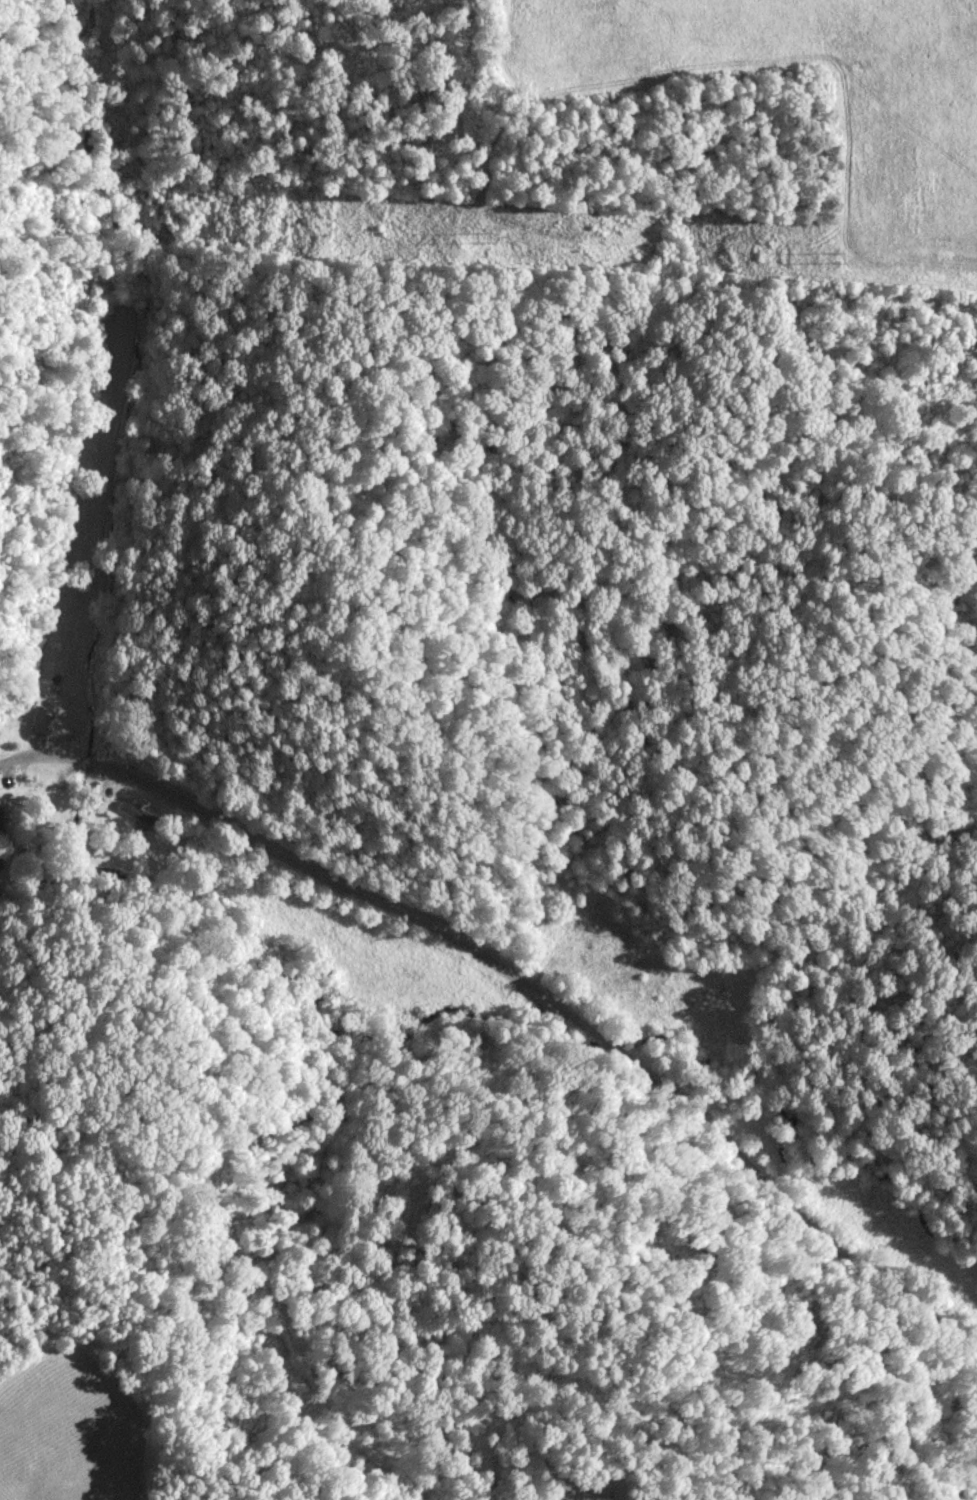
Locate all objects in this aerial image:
power tower: (487, 237)
power tower: (839, 258)
building: (60, 701)
building: (1, 815)
building: (140, 815)
road: (531, 992)

